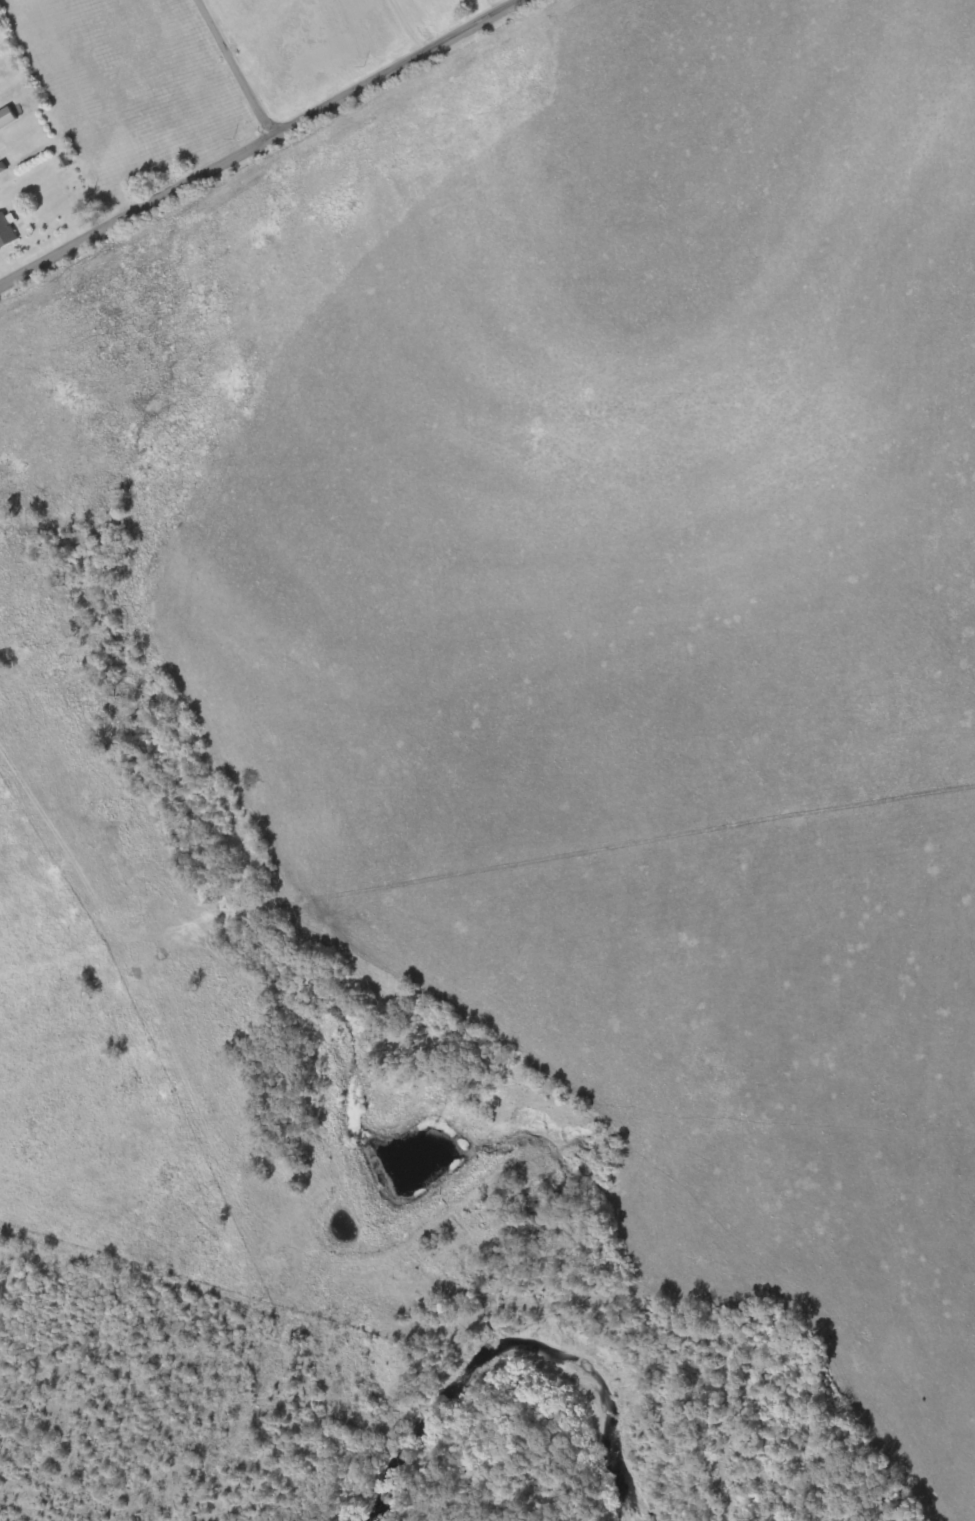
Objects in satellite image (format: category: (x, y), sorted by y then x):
road: (229, 72)
road: (266, 144)
building: (6, 231)

